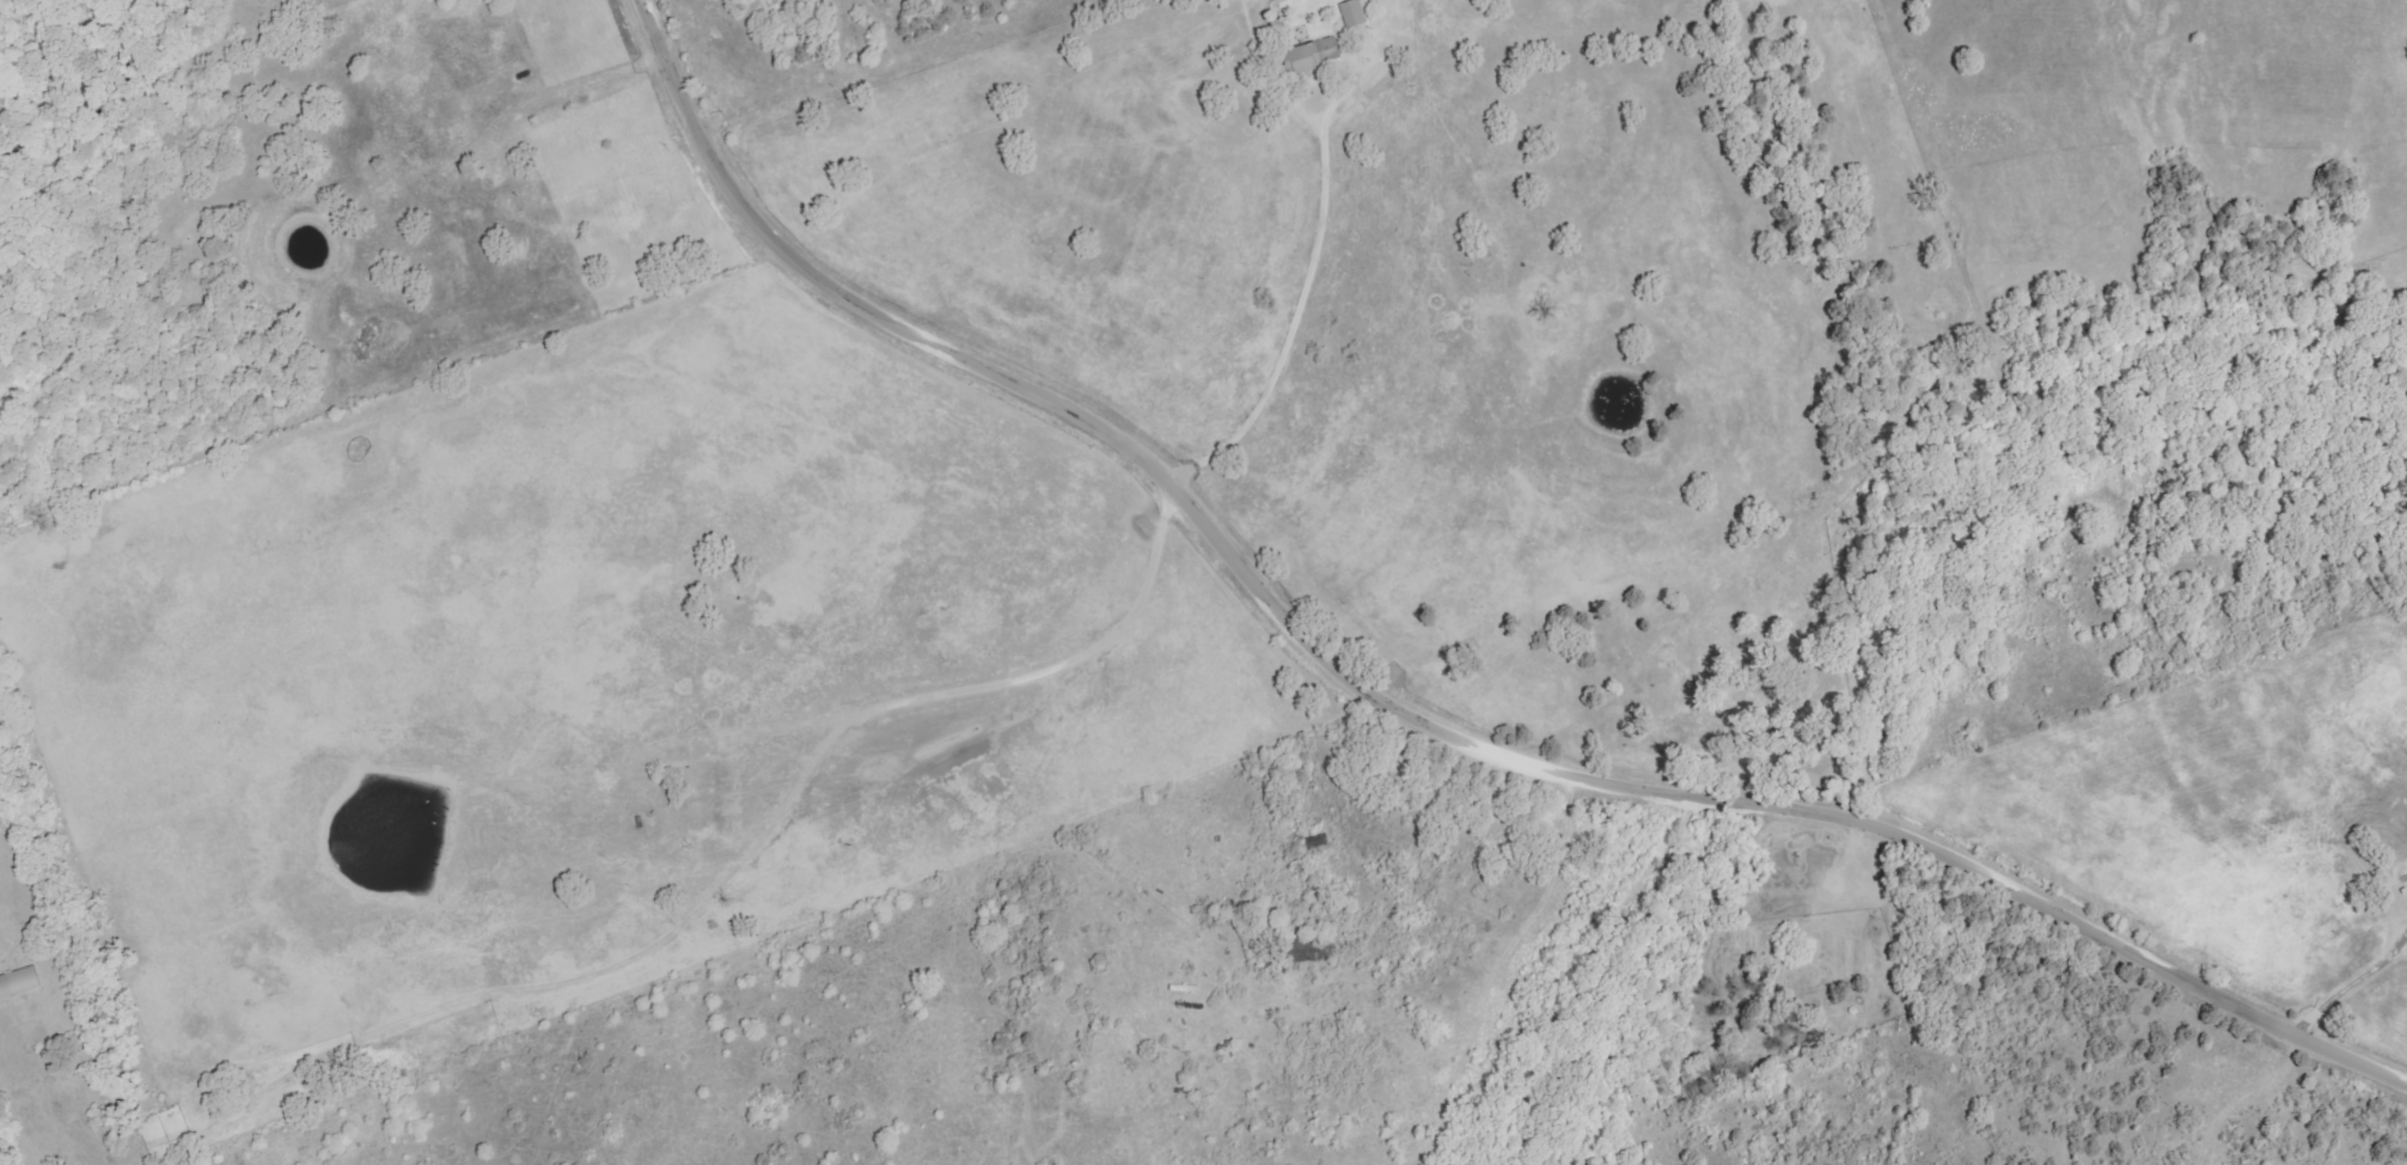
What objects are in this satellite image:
building: (1354, 13)
building: (1313, 55)
road: (1299, 312)
road: (1403, 715)
road: (1199, 724)
park: (1794, 956)
road: (2346, 990)

